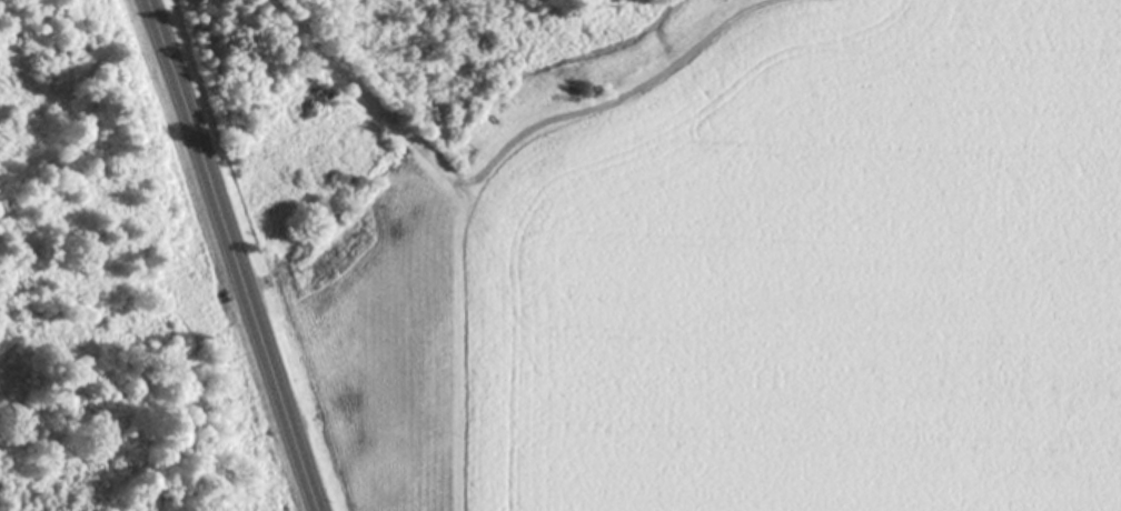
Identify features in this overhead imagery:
road: (232, 254)
crop: (751, 282)

